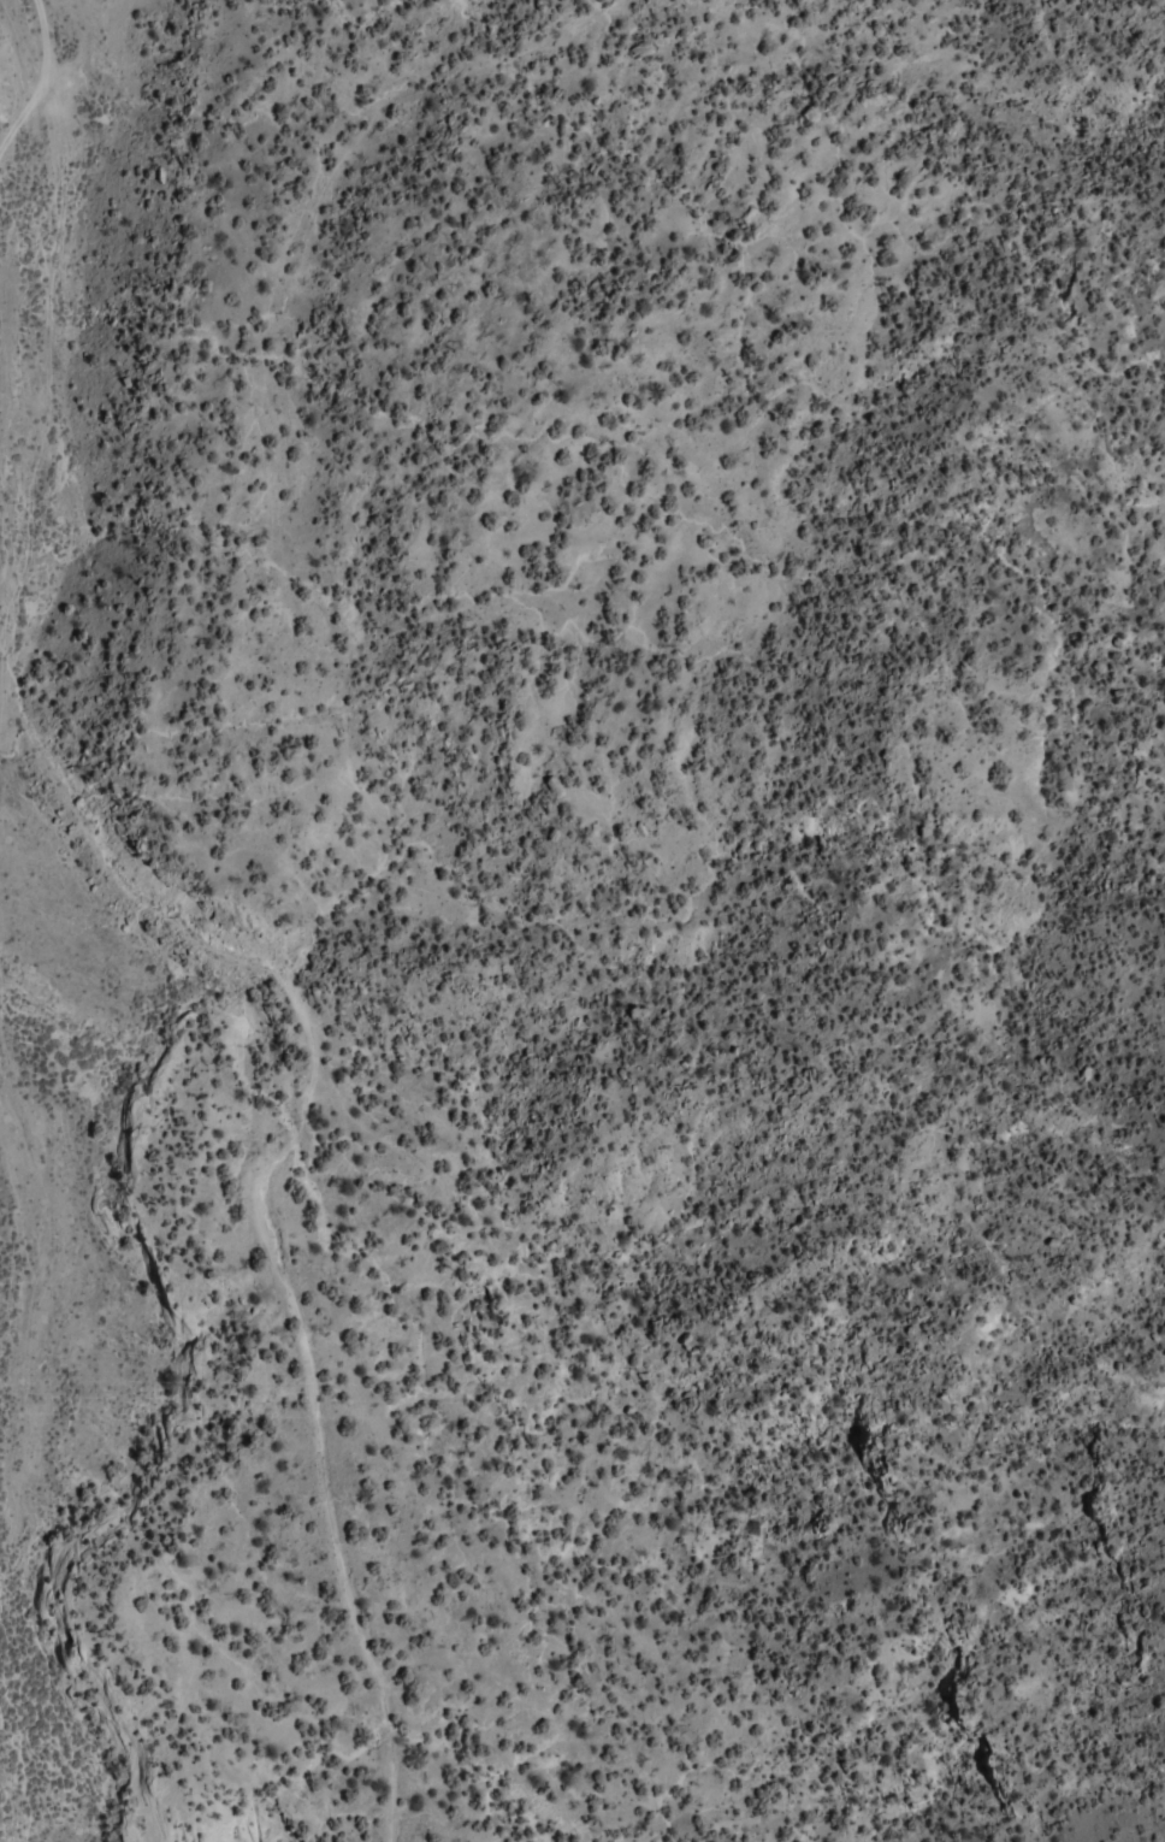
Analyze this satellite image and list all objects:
road: (43, 83)

